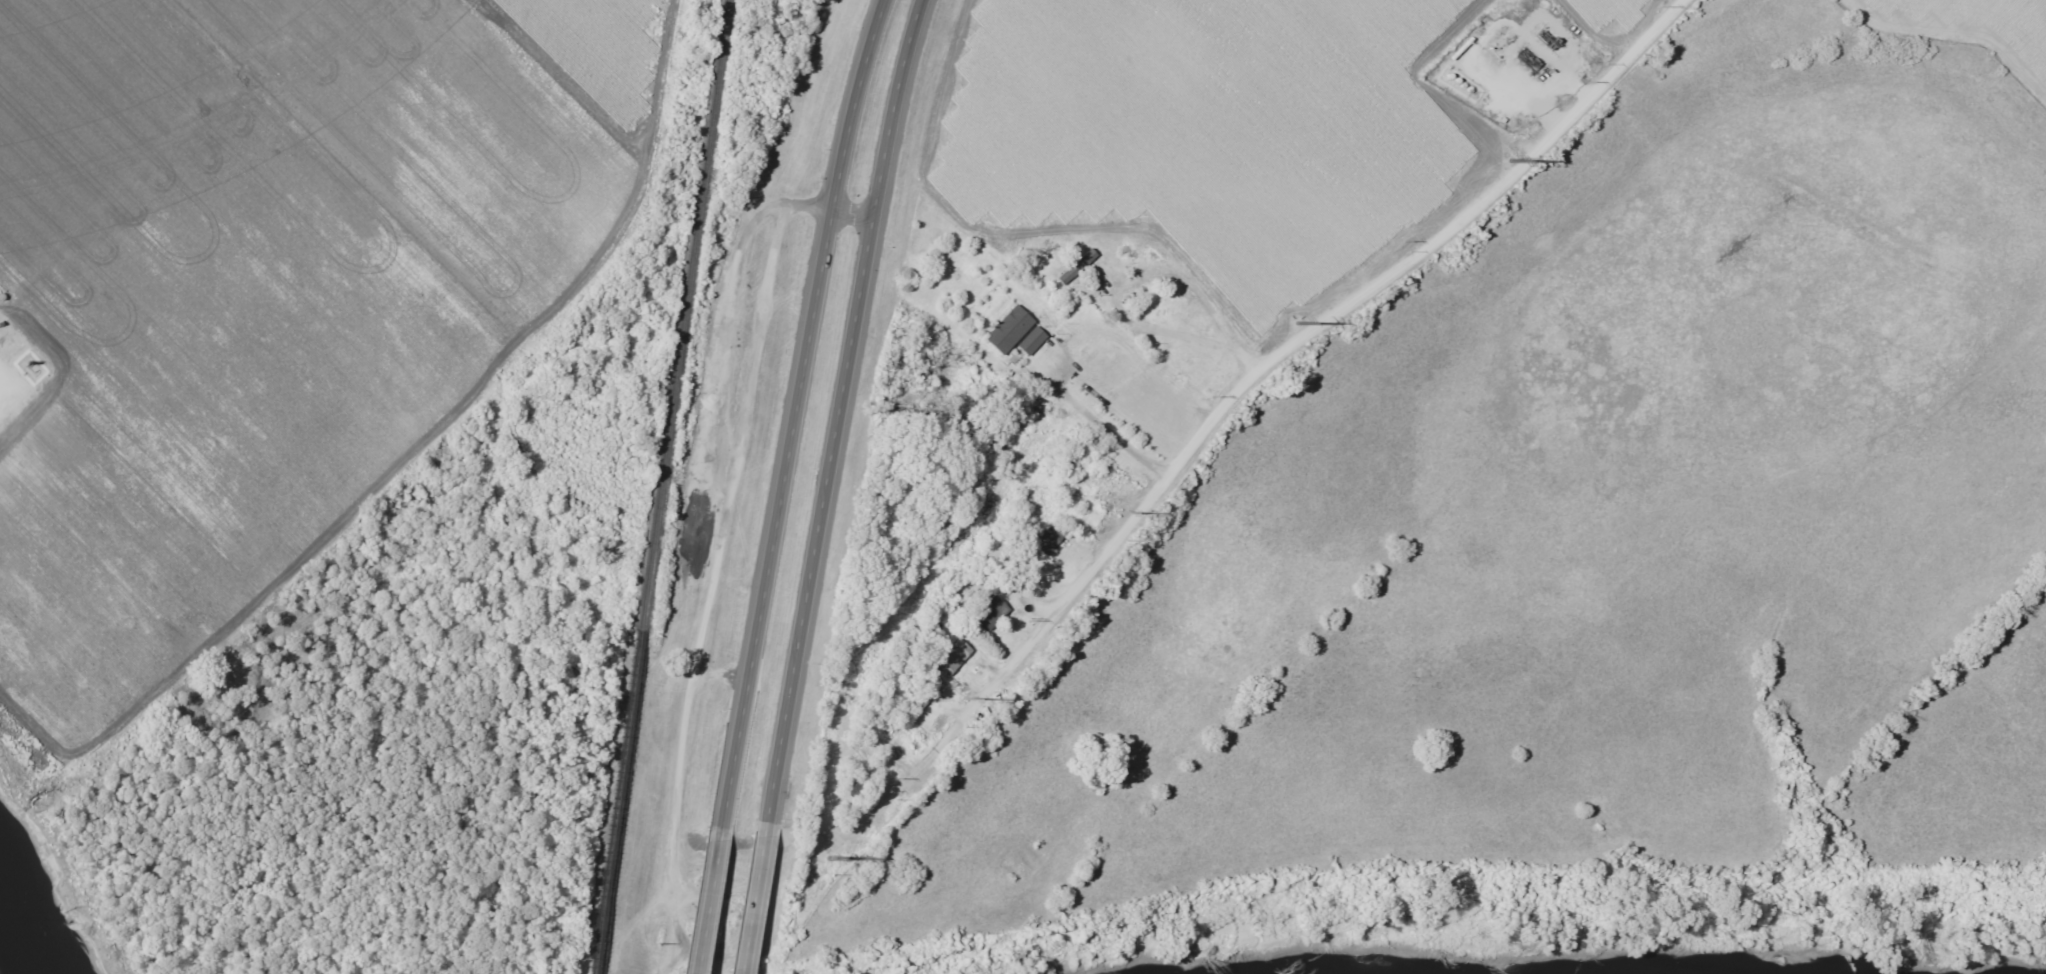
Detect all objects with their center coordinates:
chimney: (1488, 47)
building: (1457, 48)
silo: (1457, 48)
chimney: (1589, 51)
petroleum well: (1532, 62)
building: (1443, 76)
silo: (1443, 76)
building: (1450, 81)
silo: (1450, 81)
building: (1458, 86)
silo: (1458, 86)
building: (1466, 91)
silo: (1466, 91)
road: (855, 210)
building: (1074, 267)
building: (1005, 330)
road: (1300, 336)
chimney: (28, 363)
chimney: (36, 372)
road: (795, 414)
road: (839, 414)
road: (1101, 423)
railway: (658, 487)
building: (952, 658)
road: (750, 902)
road: (705, 903)

